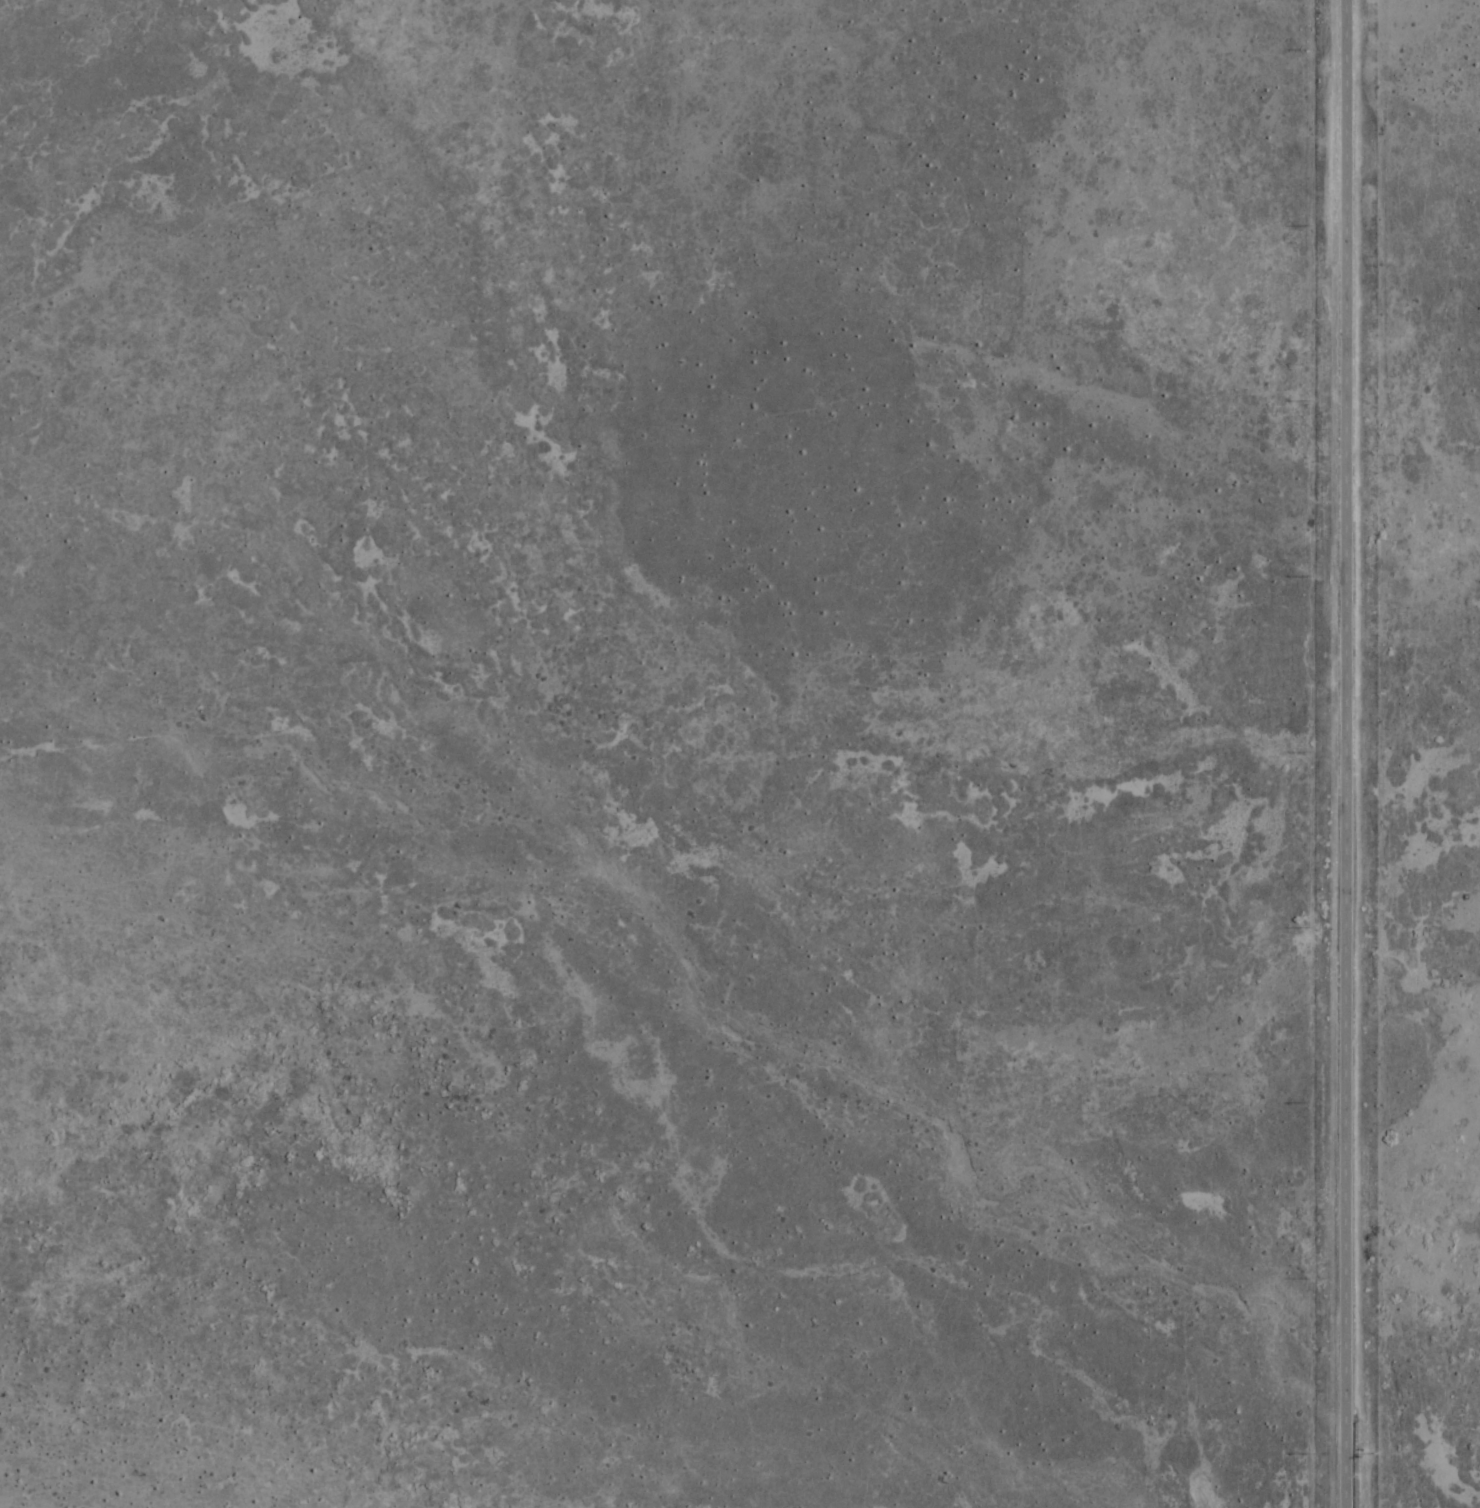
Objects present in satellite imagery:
road: (1371, 753)

